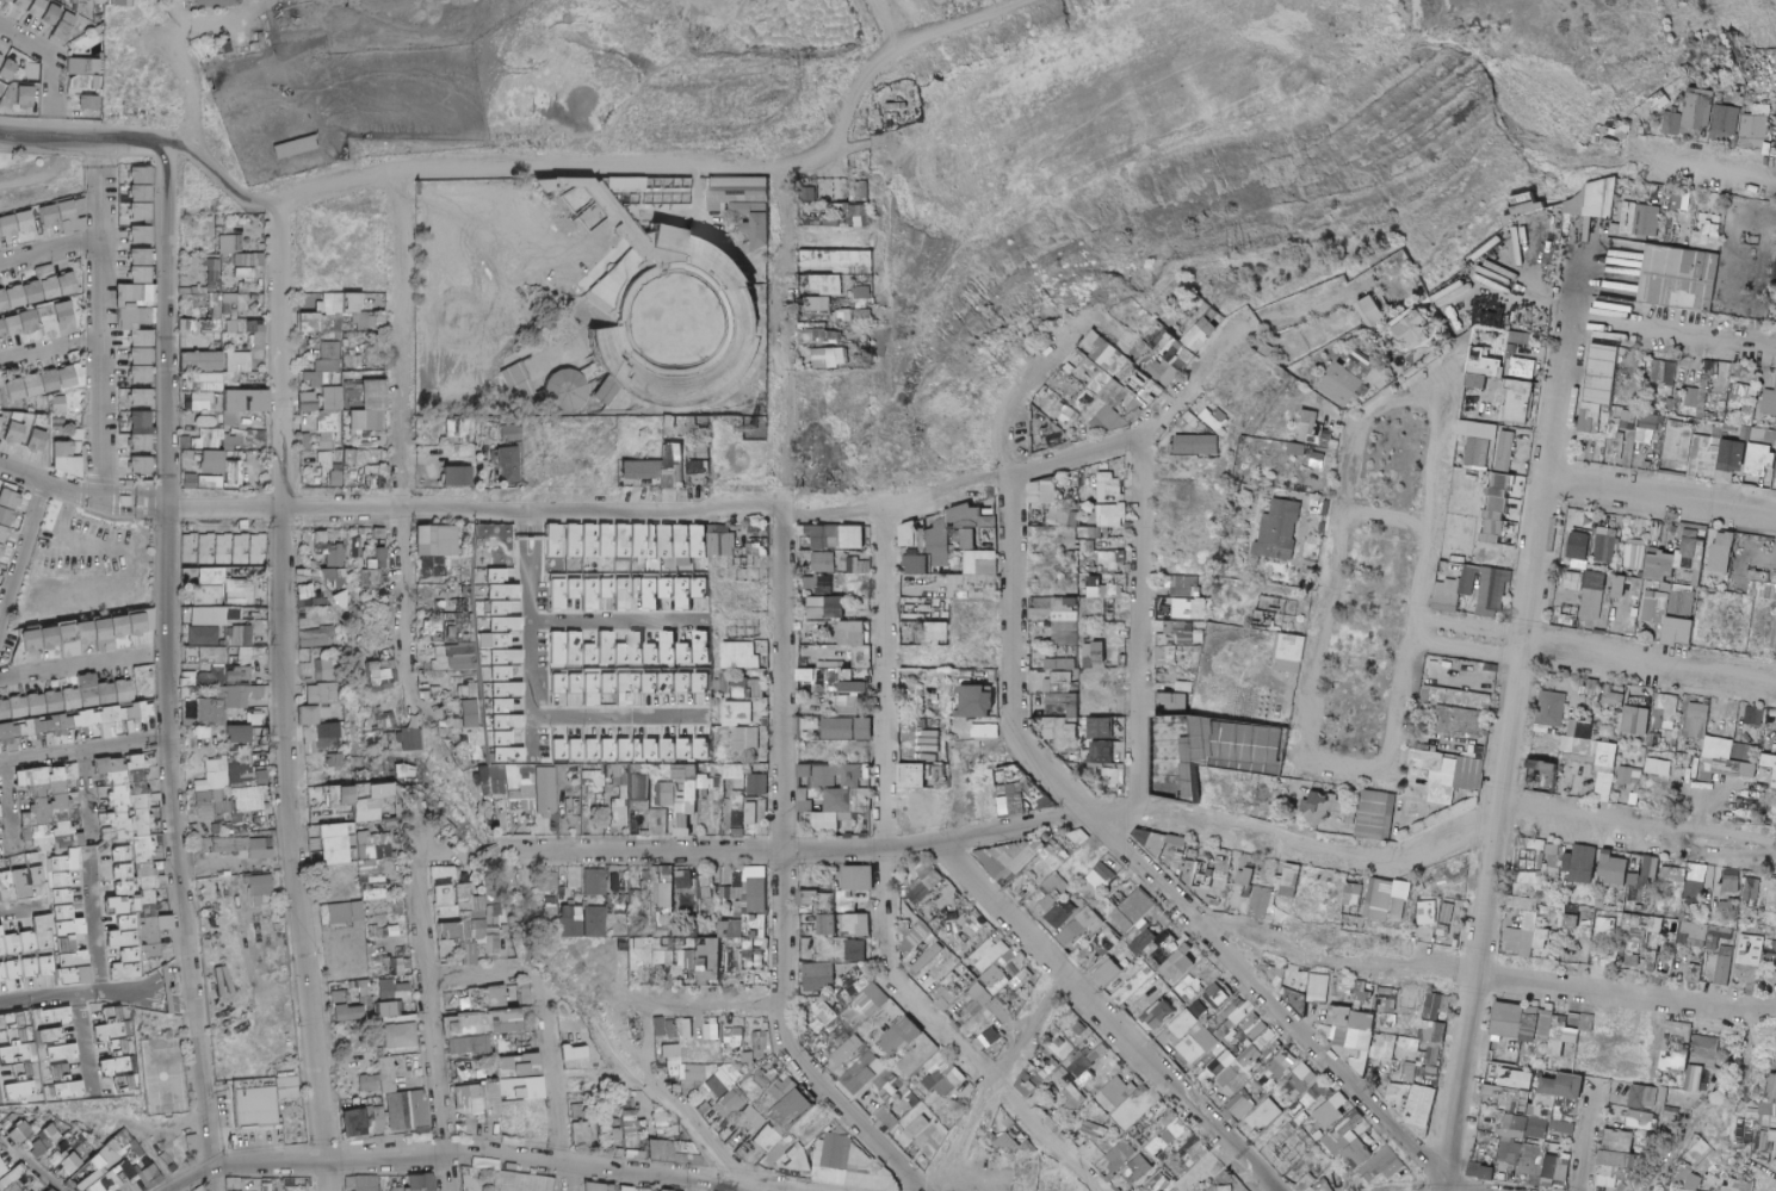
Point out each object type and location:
park: (25, 156)
parking lot: (563, 250)

